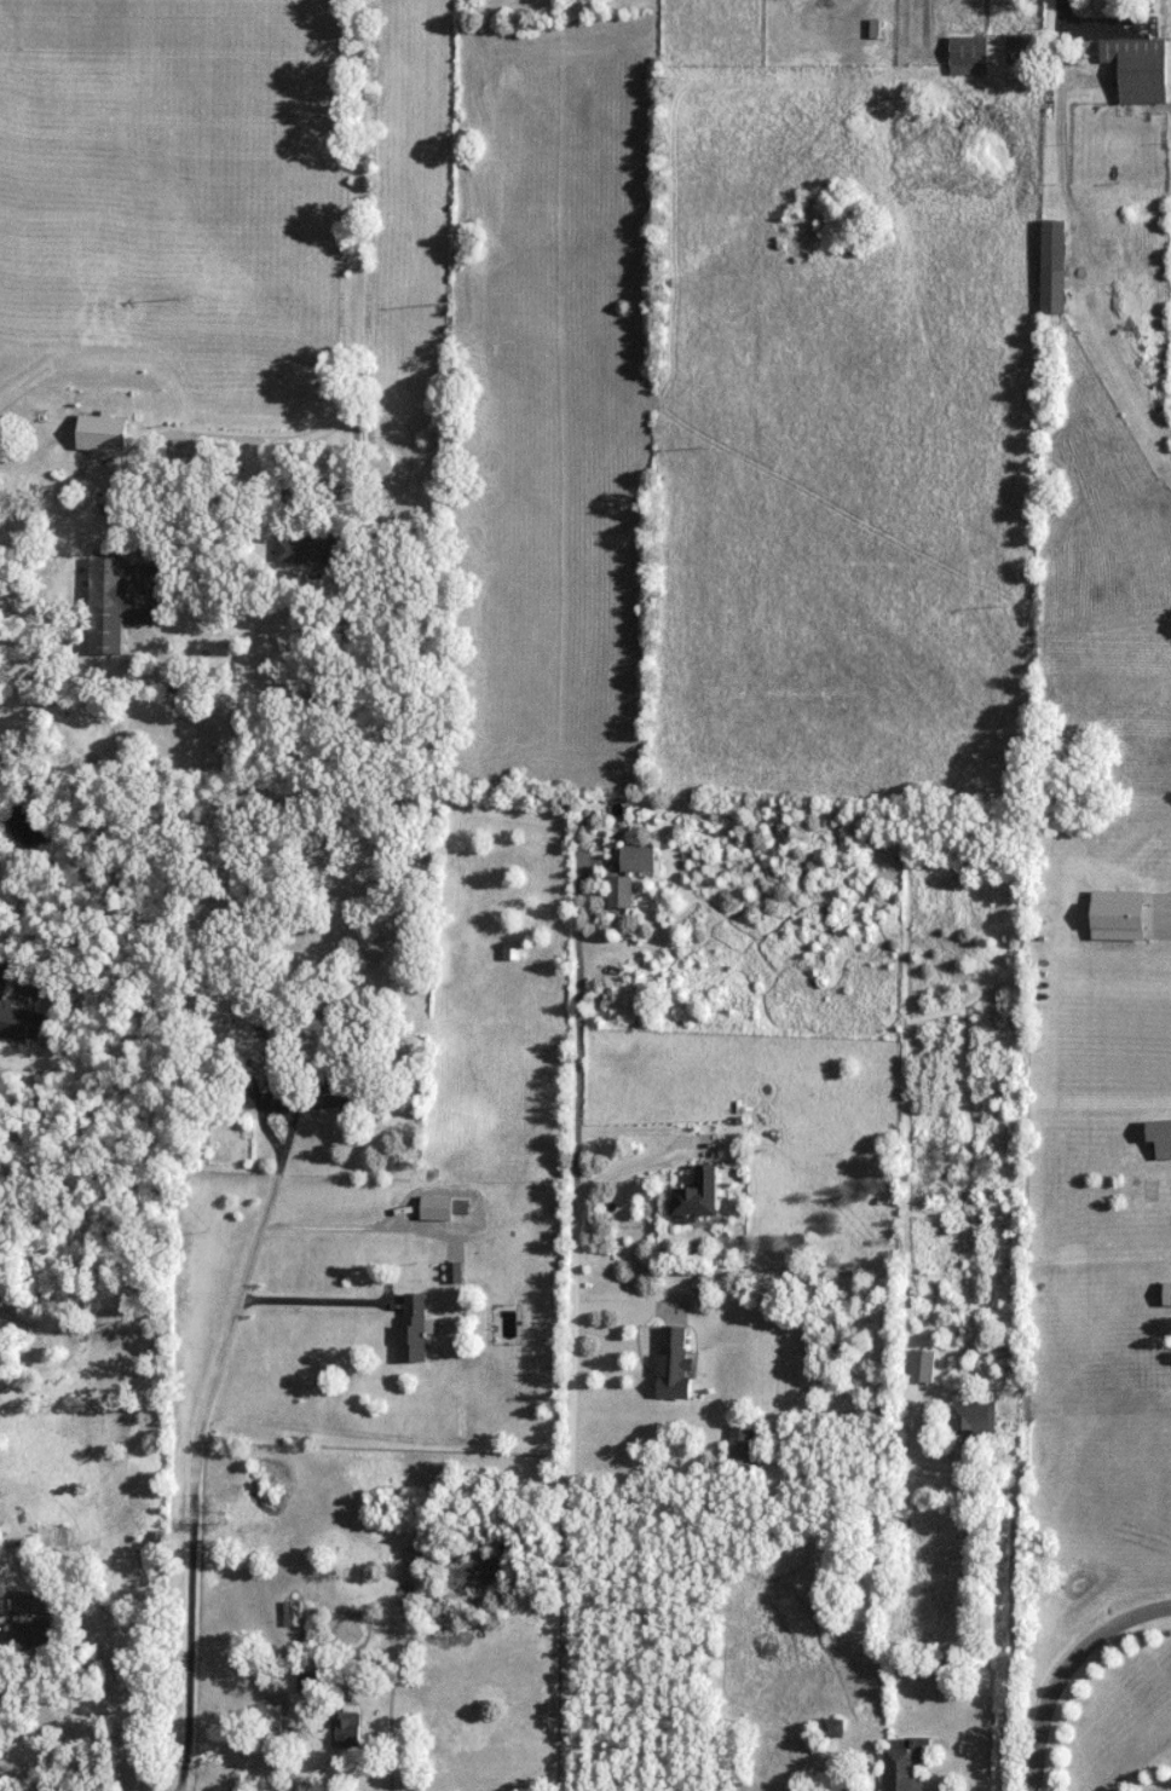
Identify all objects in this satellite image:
road: (940, 31)
building: (990, 56)
building: (1141, 69)
road: (1060, 150)
building: (1055, 267)
road: (359, 351)
building: (322, 548)
building: (121, 601)
building: (639, 859)
building: (621, 892)
road: (577, 1015)
building: (19, 1017)
building: (334, 1092)
building: (1164, 1148)
road: (640, 1162)
building: (699, 1194)
building: (1167, 1294)
road: (322, 1302)
building: (413, 1330)
building: (676, 1364)
building: (923, 1365)
building: (975, 1417)
building: (743, 1446)
road: (196, 1449)
road: (569, 1487)
road: (1015, 1602)
building: (293, 1613)
building: (38, 1634)
building: (916, 1666)
building: (938, 1668)
road: (1065, 1670)
building: (306, 1681)
road: (90, 1714)
building: (347, 1727)
building: (833, 1728)
building: (905, 1763)

